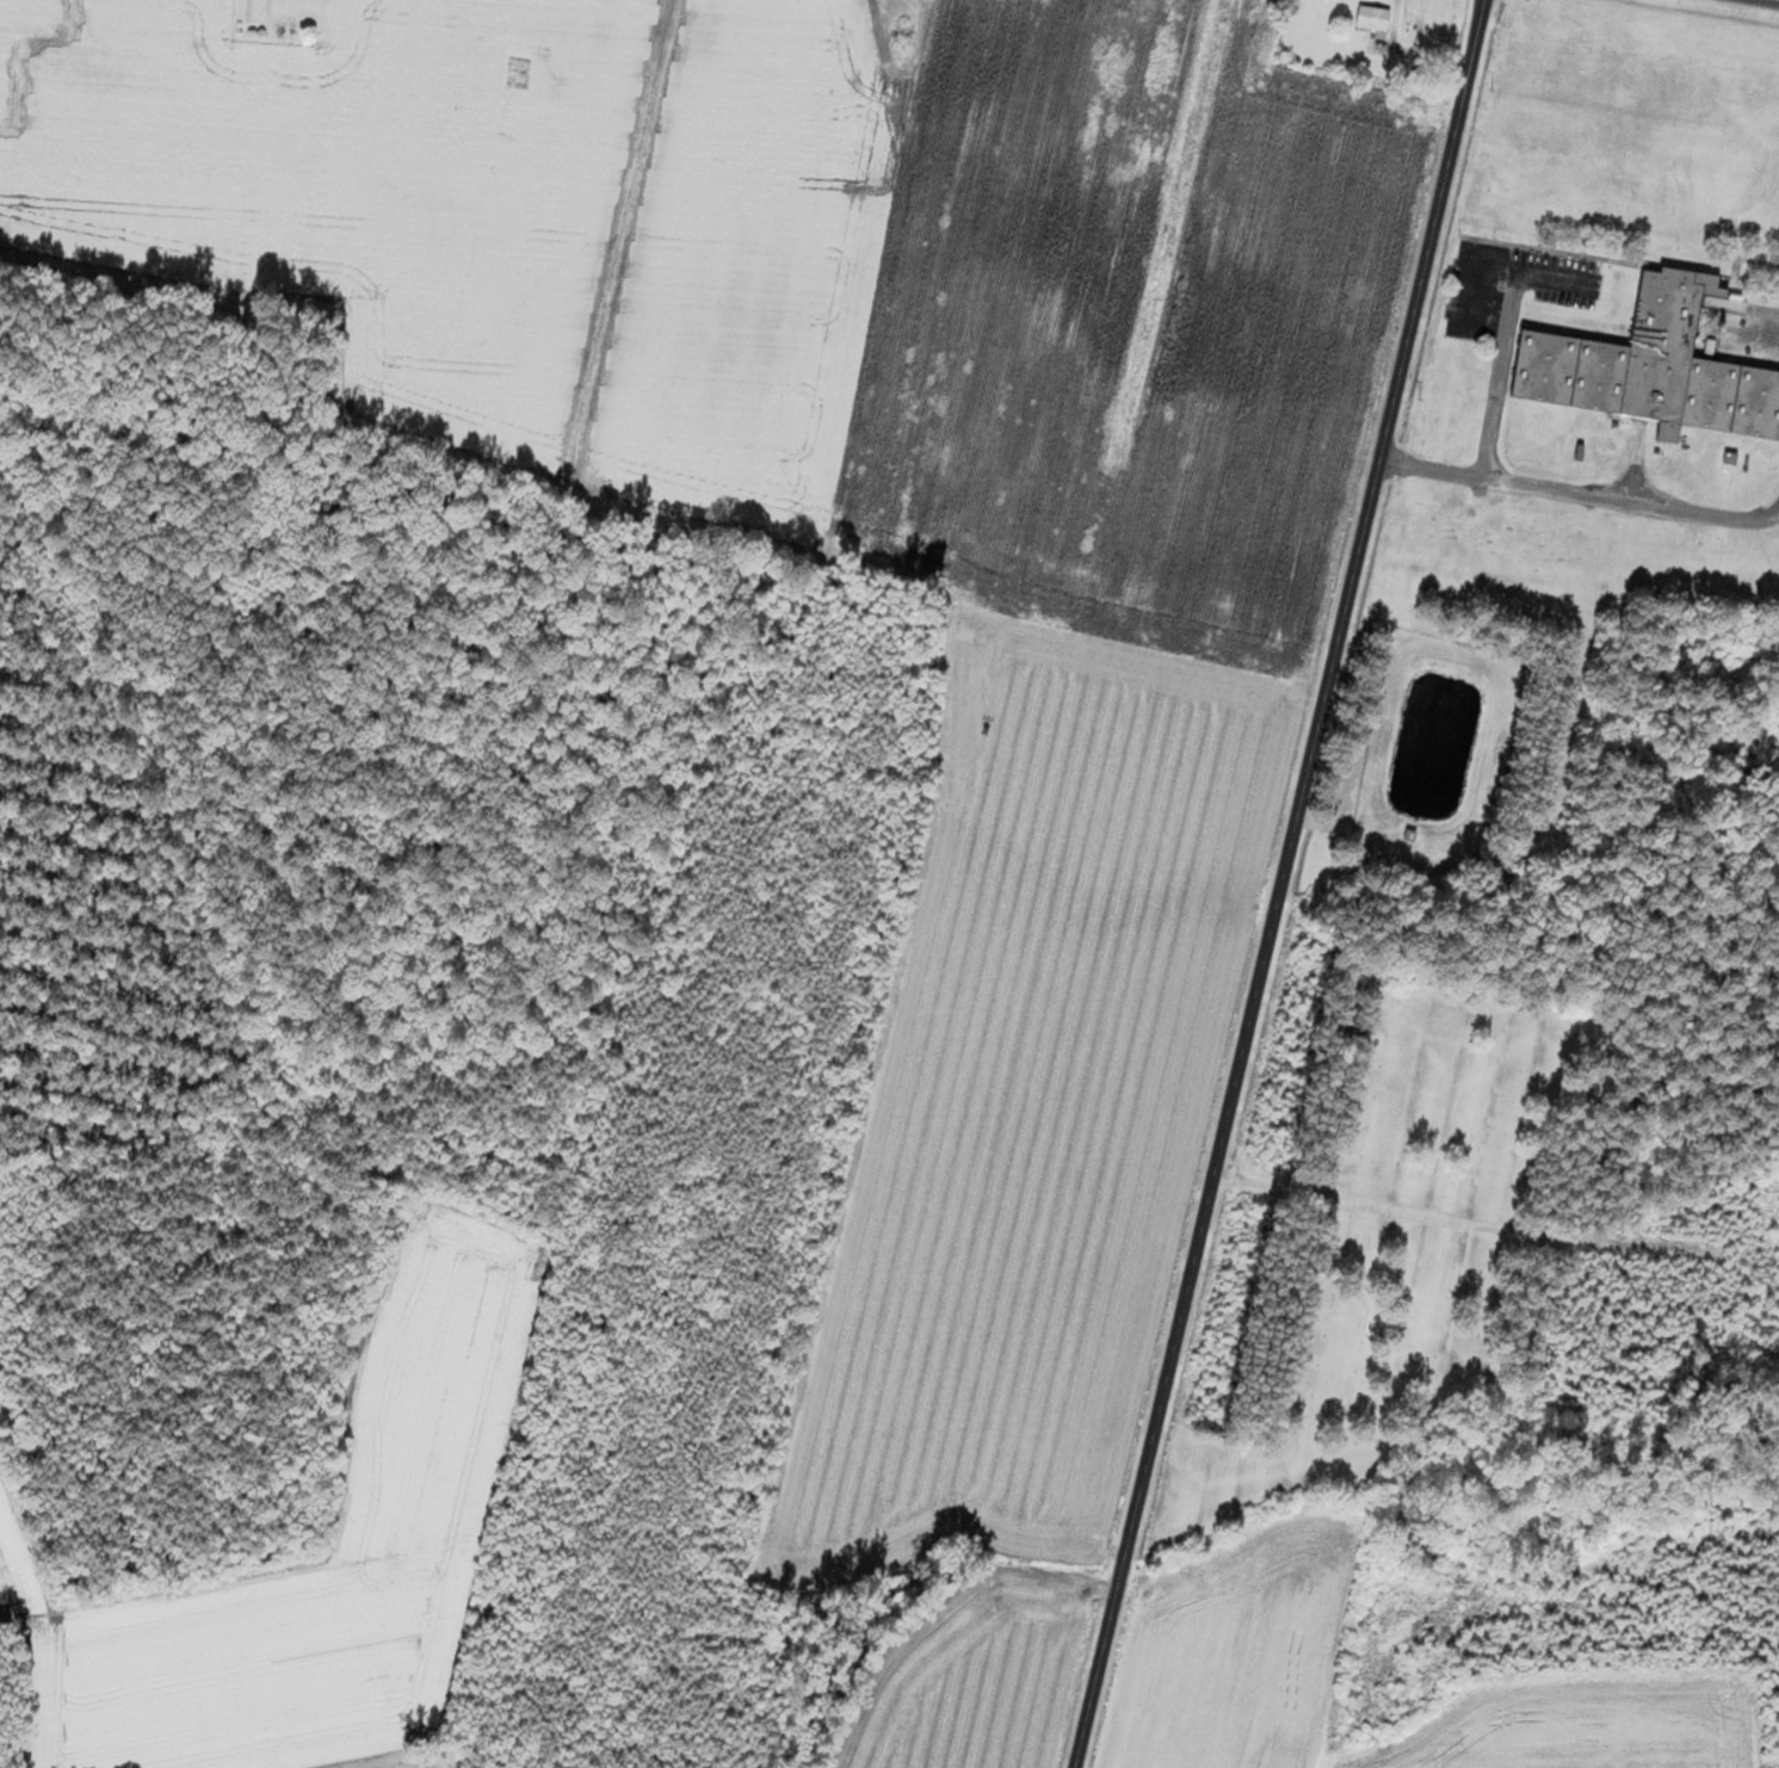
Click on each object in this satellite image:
road: (1769, 1)
building: (1372, 20)
building: (1419, 31)
road: (1505, 338)
building: (1651, 370)
road: (1580, 495)
building: (1408, 835)
road: (1280, 884)

